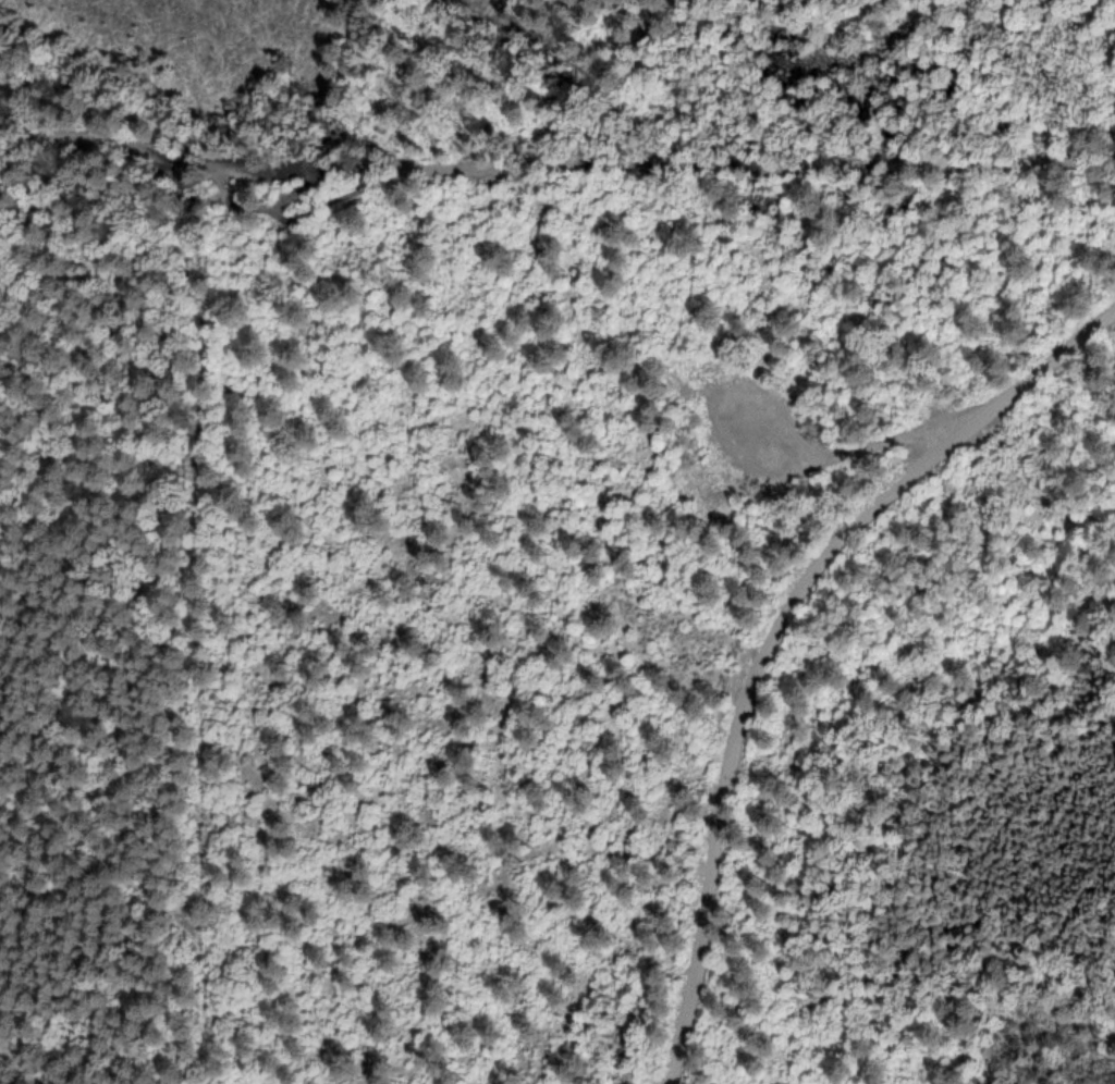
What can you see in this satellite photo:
road: (96, 145)
road: (191, 164)
road: (776, 633)
road: (91, 863)

